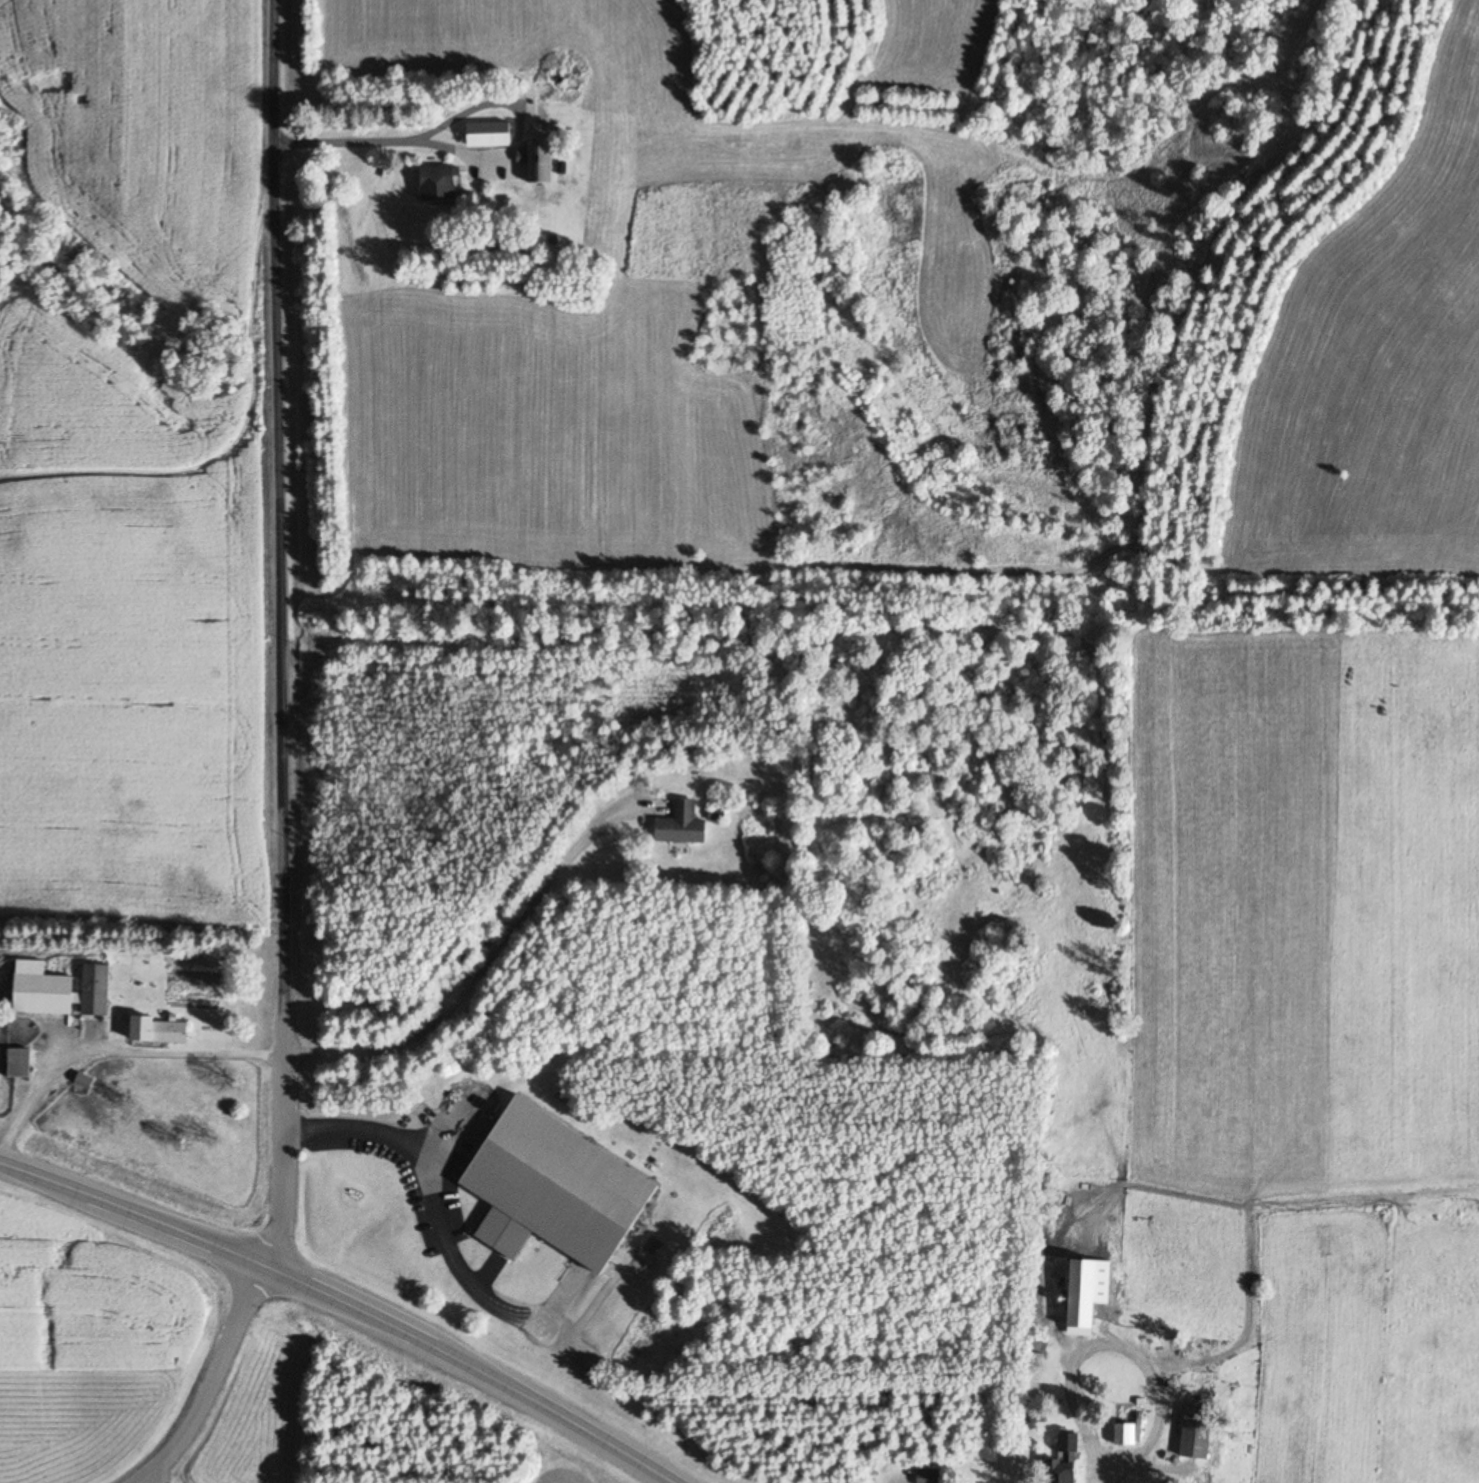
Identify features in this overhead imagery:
building: (489, 136)
building: (539, 162)
building: (439, 184)
road: (283, 635)
building: (682, 825)
road: (514, 935)
building: (60, 991)
building: (159, 1030)
road: (114, 1036)
building: (20, 1066)
building: (554, 1187)
road: (343, 1305)
road: (213, 1380)
building: (1198, 1434)
building: (1125, 1435)
building: (1066, 1460)
building: (928, 1476)

